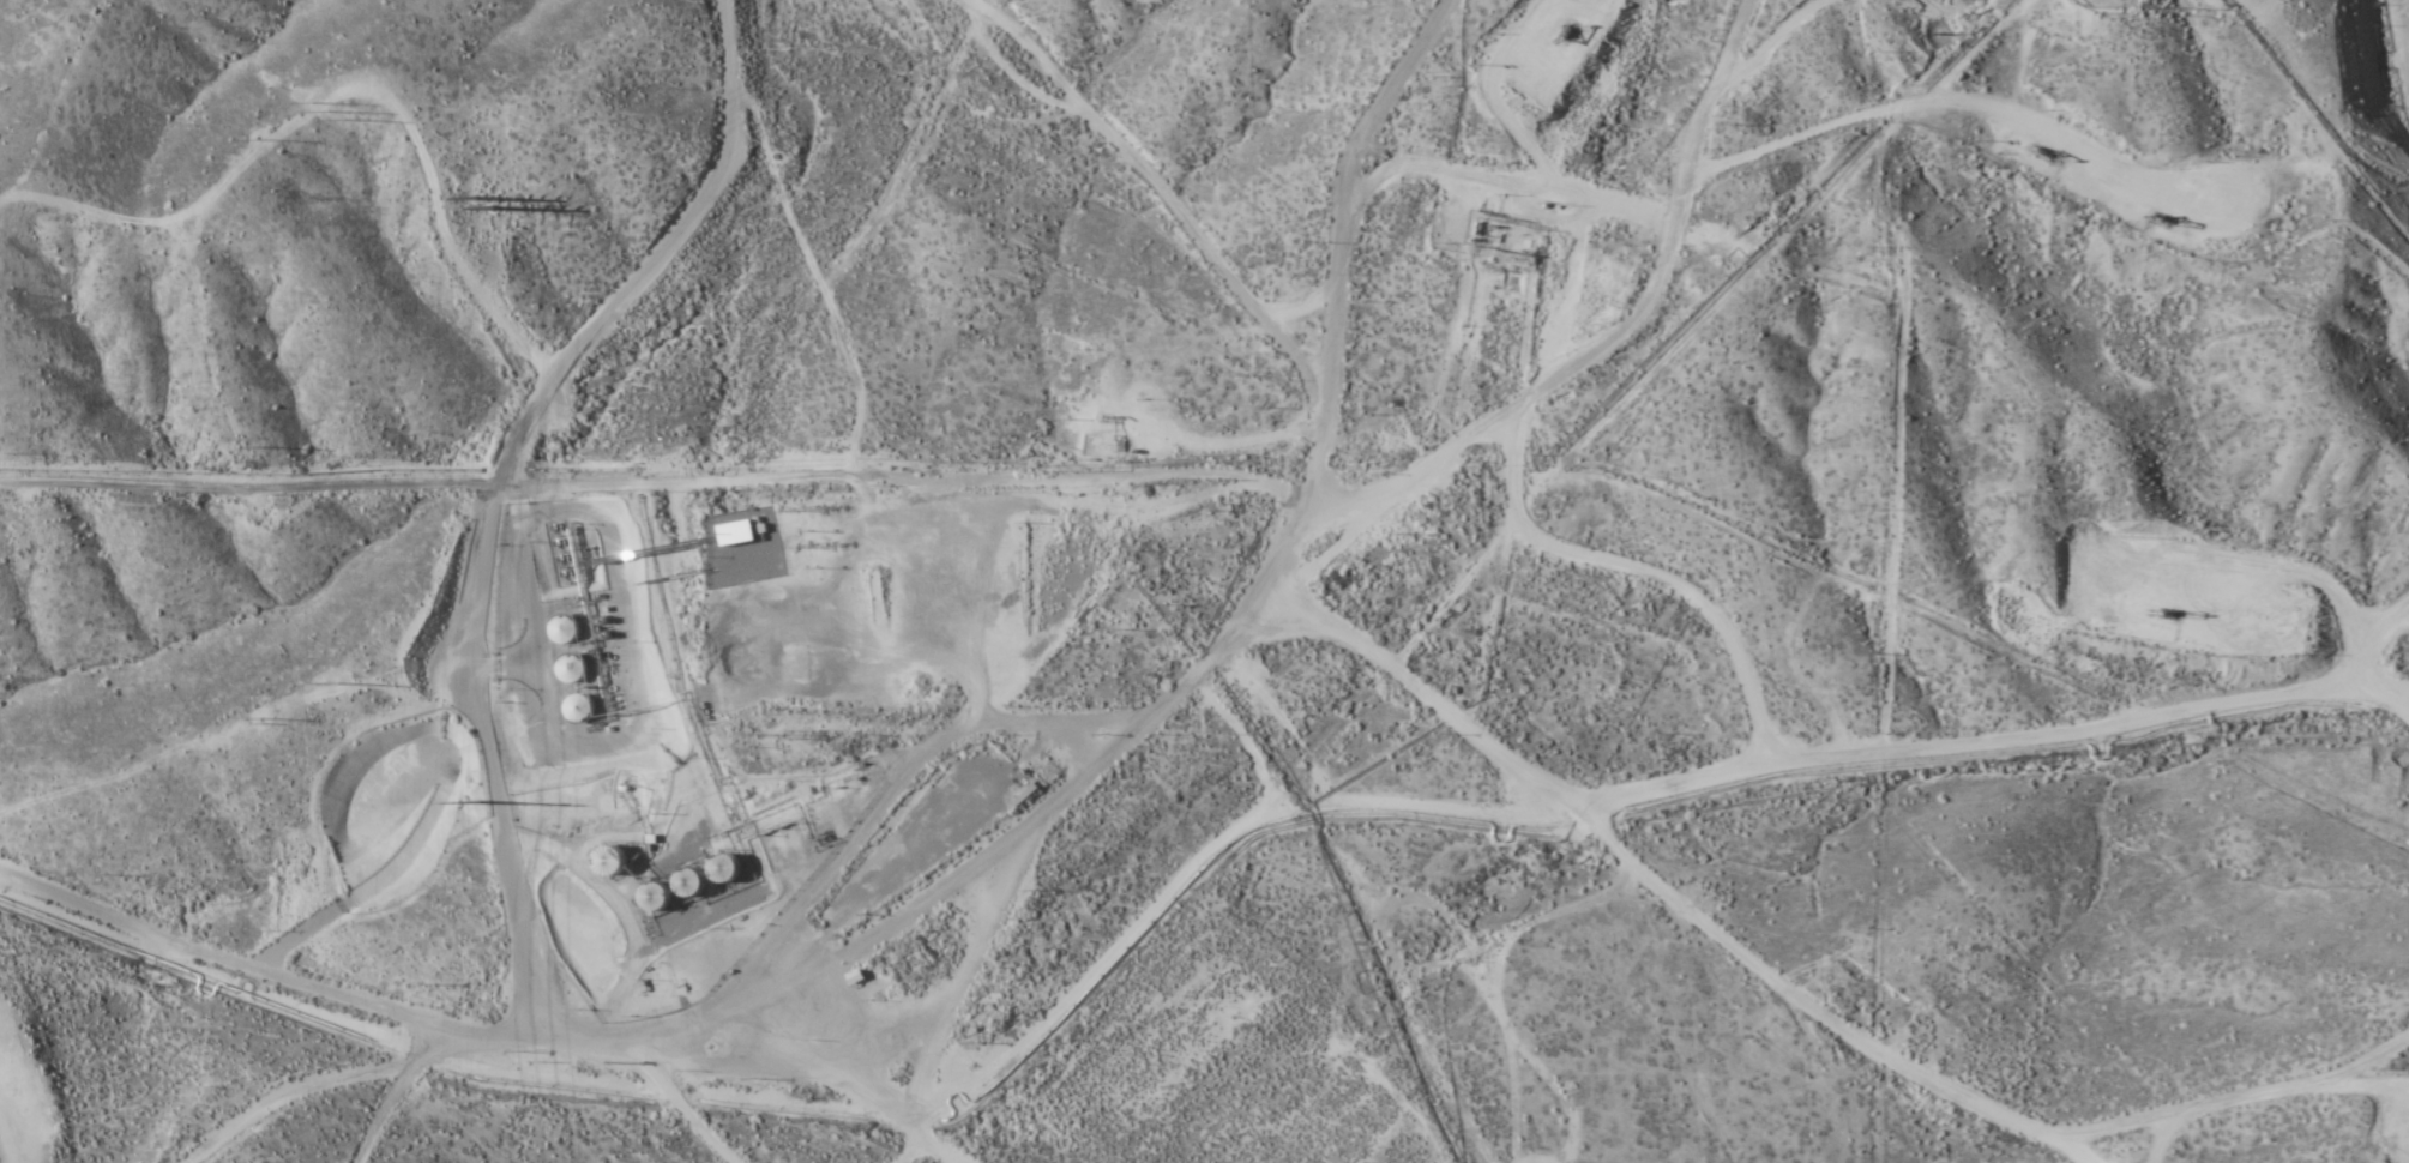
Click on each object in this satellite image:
road: (1385, 17)
power tower: (338, 137)
power tower: (496, 206)
road: (463, 566)
building: (765, 591)
power tower: (341, 692)
road: (1241, 697)
road: (1964, 781)
power tower: (482, 803)
building: (716, 867)
building: (683, 880)
building: (646, 894)
road: (1524, 917)
road: (91, 1123)
road: (2381, 1147)

